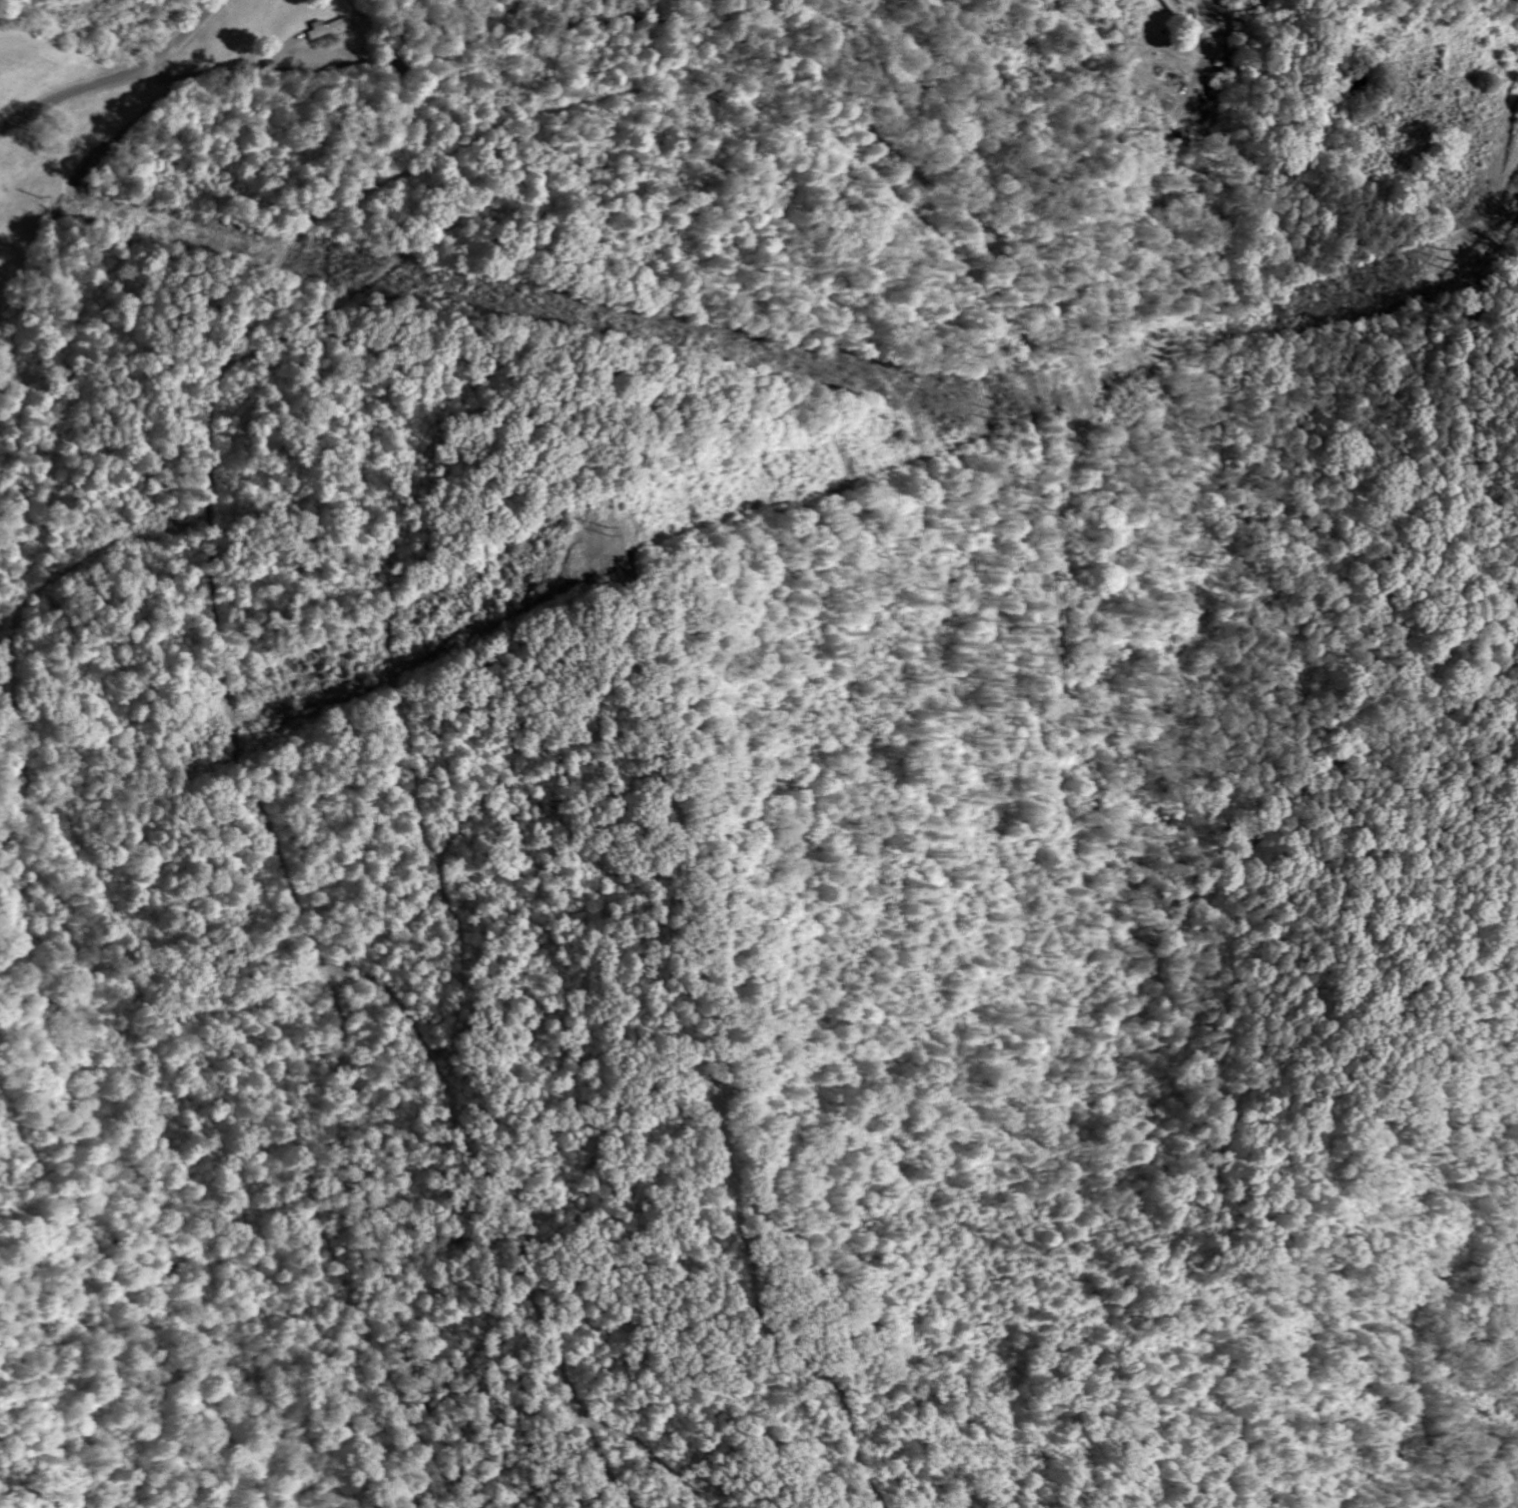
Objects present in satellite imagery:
building: (1176, 7)
building: (331, 28)
road: (118, 76)

